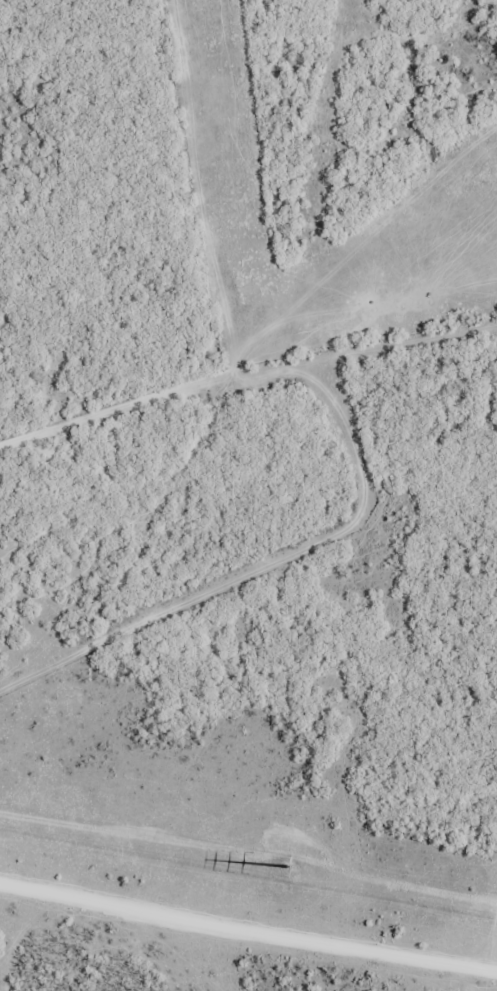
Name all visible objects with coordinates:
power tower: (292, 869)
road: (248, 920)

